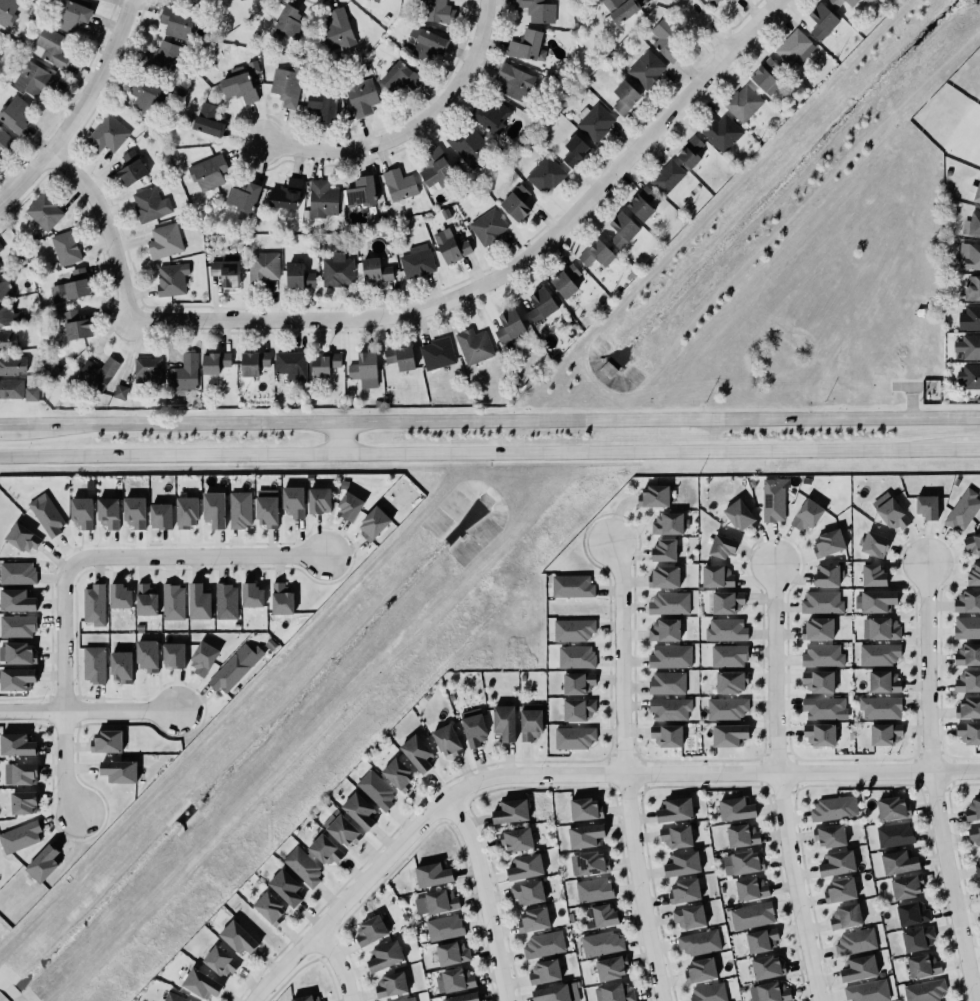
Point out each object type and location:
building: (376, 0)
building: (731, 0)
building: (713, 1)
building: (836, 3)
building: (537, 10)
building: (438, 11)
building: (619, 11)
building: (7, 12)
building: (72, 15)
building: (821, 21)
building: (177, 22)
building: (290, 23)
road: (707, 25)
building: (335, 29)
building: (666, 38)
building: (427, 42)
building: (525, 44)
building: (49, 46)
building: (795, 47)
building: (163, 57)
building: (253, 67)
building: (646, 69)
building: (764, 75)
building: (398, 76)
building: (32, 77)
building: (514, 81)
building: (238, 86)
building: (286, 86)
building: (145, 93)
building: (360, 95)
building: (625, 97)
building: (742, 102)
building: (321, 105)
road: (81, 112)
building: (14, 114)
building: (492, 115)
building: (208, 120)
building: (593, 121)
road: (412, 127)
building: (720, 131)
building: (108, 134)
building: (5, 140)
building: (469, 146)
building: (575, 150)
building: (691, 152)
building: (130, 168)
building: (437, 168)
building: (208, 172)
building: (545, 175)
building: (667, 176)
building: (399, 184)
building: (361, 191)
building: (285, 193)
building: (976, 193)
building: (243, 196)
building: (320, 198)
building: (515, 203)
building: (640, 203)
building: (149, 204)
building: (44, 211)
building: (971, 224)
building: (487, 226)
building: (621, 229)
building: (165, 241)
building: (449, 246)
building: (0, 247)
building: (66, 248)
building: (597, 254)
building: (969, 256)
building: (417, 261)
building: (261, 268)
building: (338, 270)
building: (226, 271)
building: (374, 271)
building: (299, 276)
building: (171, 278)
building: (566, 281)
building: (71, 285)
building: (972, 287)
building: (5, 290)
building: (541, 304)
road: (424, 308)
building: (10, 317)
building: (969, 317)
building: (76, 325)
building: (509, 326)
building: (8, 340)
building: (472, 345)
building: (970, 346)
building: (437, 353)
building: (399, 357)
building: (214, 362)
building: (253, 362)
building: (323, 362)
building: (289, 363)
building: (11, 364)
building: (365, 369)
building: (148, 370)
building: (96, 373)
building: (184, 373)
building: (969, 376)
building: (10, 388)
building: (121, 392)
building: (31, 393)
road: (503, 419)
road: (13, 423)
road: (339, 437)
road: (968, 447)
road: (478, 451)
building: (653, 496)
building: (774, 499)
building: (319, 500)
building: (293, 501)
building: (349, 506)
building: (926, 507)
building: (213, 509)
building: (240, 509)
building: (81, 510)
building: (963, 510)
building: (133, 511)
building: (266, 511)
building: (45, 512)
building: (107, 512)
building: (187, 512)
building: (808, 514)
building: (892, 514)
building: (159, 516)
building: (740, 516)
building: (373, 523)
building: (667, 523)
building: (23, 538)
building: (827, 543)
building: (972, 543)
building: (875, 544)
building: (720, 546)
building: (663, 550)
road: (197, 557)
building: (17, 573)
building: (826, 575)
building: (874, 575)
building: (717, 576)
building: (973, 576)
building: (663, 577)
building: (570, 586)
building: (251, 595)
building: (118, 596)
building: (144, 599)
building: (281, 599)
building: (17, 600)
building: (173, 601)
building: (225, 601)
building: (875, 601)
building: (967, 601)
building: (199, 602)
building: (727, 602)
building: (820, 602)
building: (669, 603)
building: (93, 604)
building: (17, 626)
building: (966, 627)
building: (571, 629)
building: (816, 629)
building: (882, 629)
building: (664, 630)
building: (726, 630)
building: (172, 651)
building: (16, 653)
building: (877, 653)
building: (967, 654)
building: (146, 655)
building: (729, 655)
building: (821, 655)
building: (575, 656)
building: (668, 656)
building: (202, 657)
building: (93, 664)
building: (120, 666)
building: (232, 668)
building: (969, 677)
building: (15, 678)
building: (819, 681)
building: (731, 682)
building: (882, 682)
building: (576, 683)
building: (667, 683)
road: (63, 689)
building: (968, 704)
building: (825, 707)
building: (881, 707)
building: (670, 708)
building: (727, 708)
building: (579, 709)
road: (88, 711)
building: (503, 722)
building: (529, 723)
building: (474, 727)
building: (885, 733)
building: (969, 733)
building: (819, 734)
building: (666, 735)
building: (730, 735)
building: (572, 737)
building: (445, 740)
building: (106, 741)
building: (17, 744)
building: (416, 753)
building: (118, 771)
building: (395, 771)
road: (623, 771)
building: (19, 773)
road: (570, 775)
road: (930, 783)
road: (778, 784)
building: (376, 790)
building: (24, 802)
building: (736, 808)
building: (830, 808)
building: (890, 808)
building: (584, 809)
building: (973, 809)
building: (359, 810)
building: (674, 810)
building: (511, 811)
building: (342, 829)
building: (585, 832)
building: (894, 834)
building: (974, 834)
building: (741, 835)
building: (675, 836)
building: (830, 836)
building: (20, 837)
building: (516, 839)
building: (324, 850)
building: (741, 862)
building: (897, 862)
building: (44, 863)
building: (587, 863)
building: (836, 863)
building: (683, 864)
building: (977, 865)
building: (302, 866)
building: (524, 867)
building: (431, 875)
building: (907, 886)
building: (284, 887)
building: (749, 888)
building: (592, 889)
building: (684, 890)
building: (839, 890)
building: (528, 892)
road: (485, 895)
building: (435, 902)
building: (268, 908)
building: (911, 914)
building: (603, 915)
building: (750, 915)
building: (688, 916)
building: (846, 916)
building: (533, 919)
building: (444, 927)
building: (369, 931)
building: (237, 938)
building: (918, 939)
building: (762, 940)
building: (698, 941)
building: (854, 941)
building: (600, 943)
building: (542, 944)
building: (384, 952)
building: (452, 953)
building: (218, 961)
road: (338, 963)
building: (610, 963)
building: (922, 966)
building: (768, 967)
building: (858, 969)
building: (700, 970)
building: (543, 971)
building: (455, 980)
building: (201, 983)
building: (391, 985)
building: (609, 990)
building: (924, 990)
building: (866, 991)
building: (708, 992)
building: (772, 992)
building: (555, 993)
building: (174, 997)
building: (463, 997)
building: (305, 998)
building: (404, 999)

